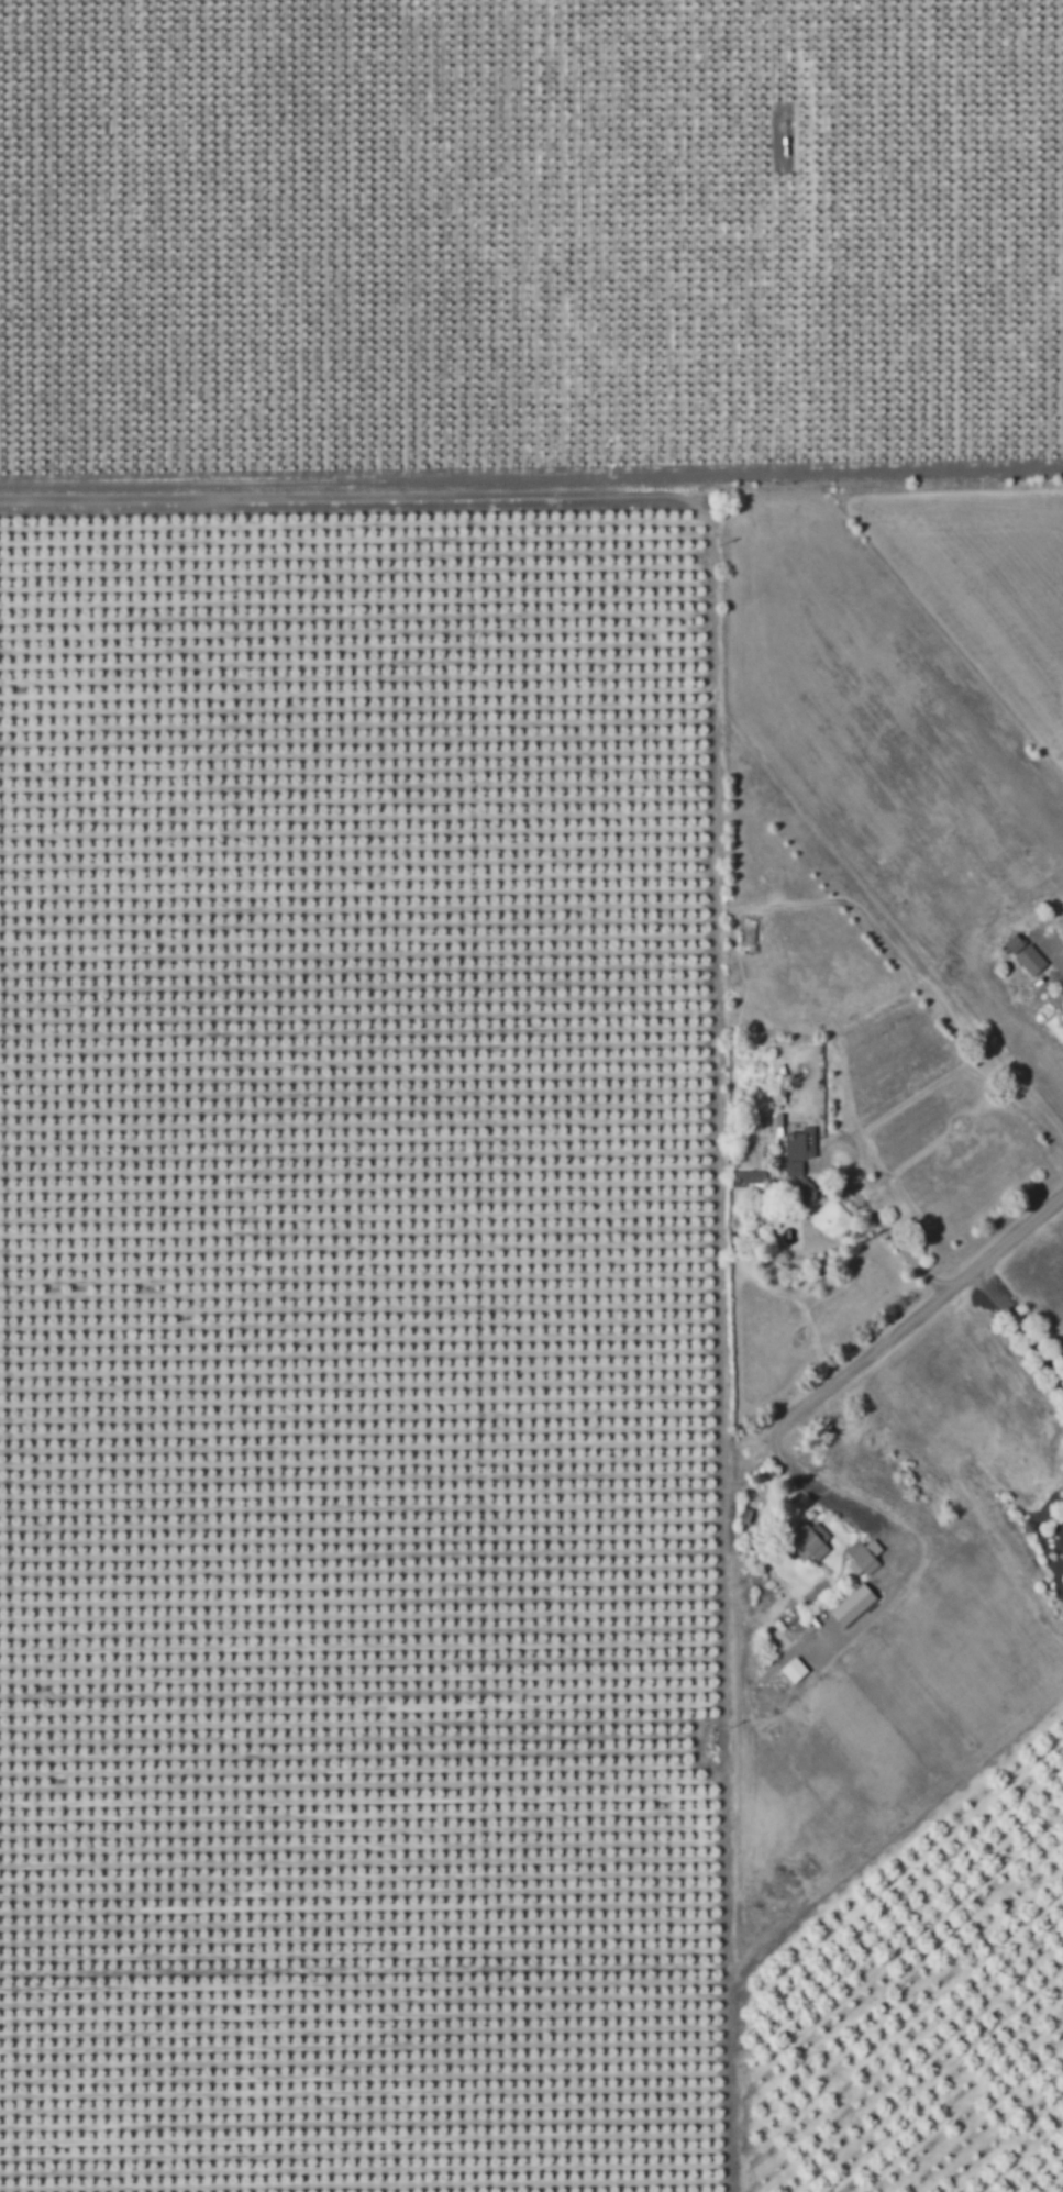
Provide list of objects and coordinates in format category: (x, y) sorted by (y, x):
building: (1030, 960)
road: (1060, 966)
building: (800, 1142)
building: (748, 1178)
road: (854, 1191)
building: (808, 1194)
road: (916, 1310)
road: (1017, 1328)
road: (846, 1509)
building: (808, 1539)
building: (863, 1556)
building: (853, 1605)
building: (794, 1669)

